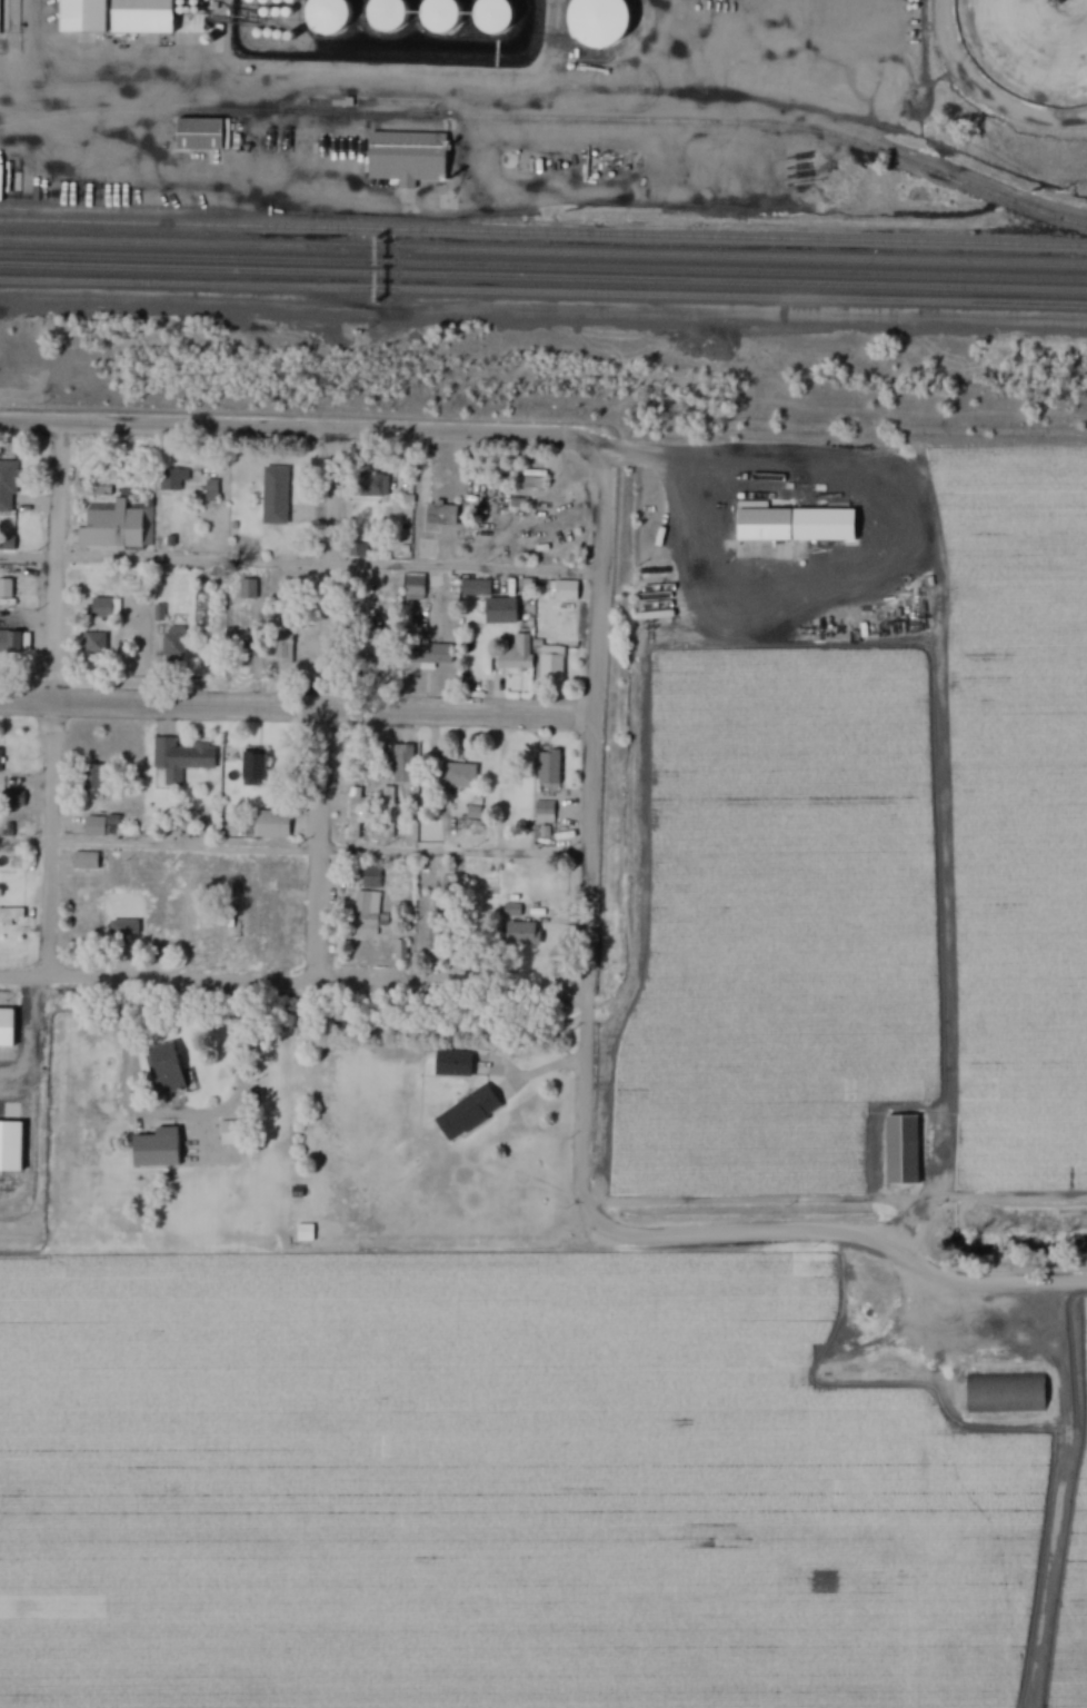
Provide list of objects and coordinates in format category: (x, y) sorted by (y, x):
building: (328, 14)
building: (80, 16)
building: (141, 16)
building: (387, 16)
building: (441, 16)
building: (495, 16)
building: (10, 17)
building: (604, 23)
silo: (604, 23)
building: (1028, 48)
building: (878, 76)
railway: (551, 117)
building: (202, 136)
building: (407, 159)
railway: (543, 232)
railway: (543, 251)
railway: (543, 265)
railway: (543, 277)
railway: (543, 292)
road: (541, 310)
road: (297, 430)
building: (173, 479)
building: (510, 481)
building: (372, 485)
building: (8, 486)
building: (211, 490)
building: (275, 495)
road: (680, 502)
building: (437, 513)
building: (118, 529)
building: (767, 532)
building: (426, 547)
road: (57, 564)
road: (299, 566)
road: (598, 582)
building: (413, 586)
building: (476, 587)
building: (248, 588)
building: (566, 589)
building: (6, 590)
building: (101, 607)
building: (500, 610)
building: (14, 642)
building: (92, 643)
building: (173, 643)
building: (283, 648)
building: (430, 654)
building: (511, 654)
building: (551, 664)
road: (328, 708)
road: (296, 709)
building: (180, 758)
building: (0, 763)
building: (402, 763)
building: (253, 767)
building: (548, 769)
building: (459, 775)
building: (93, 779)
building: (12, 798)
building: (388, 812)
building: (543, 812)
building: (355, 813)
building: (267, 824)
building: (101, 825)
road: (52, 840)
road: (295, 852)
building: (86, 860)
building: (96, 894)
building: (369, 902)
building: (11, 913)
building: (169, 916)
building: (232, 916)
building: (438, 920)
building: (121, 925)
building: (521, 933)
building: (399, 950)
road: (587, 959)
road: (293, 984)
building: (9, 1036)
building: (453, 1063)
building: (164, 1067)
building: (467, 1113)
building: (156, 1149)
building: (901, 1149)
building: (297, 1192)
road: (837, 1199)
building: (14, 1223)
road: (905, 1228)
building: (305, 1232)
road: (834, 1234)
building: (1006, 1392)

